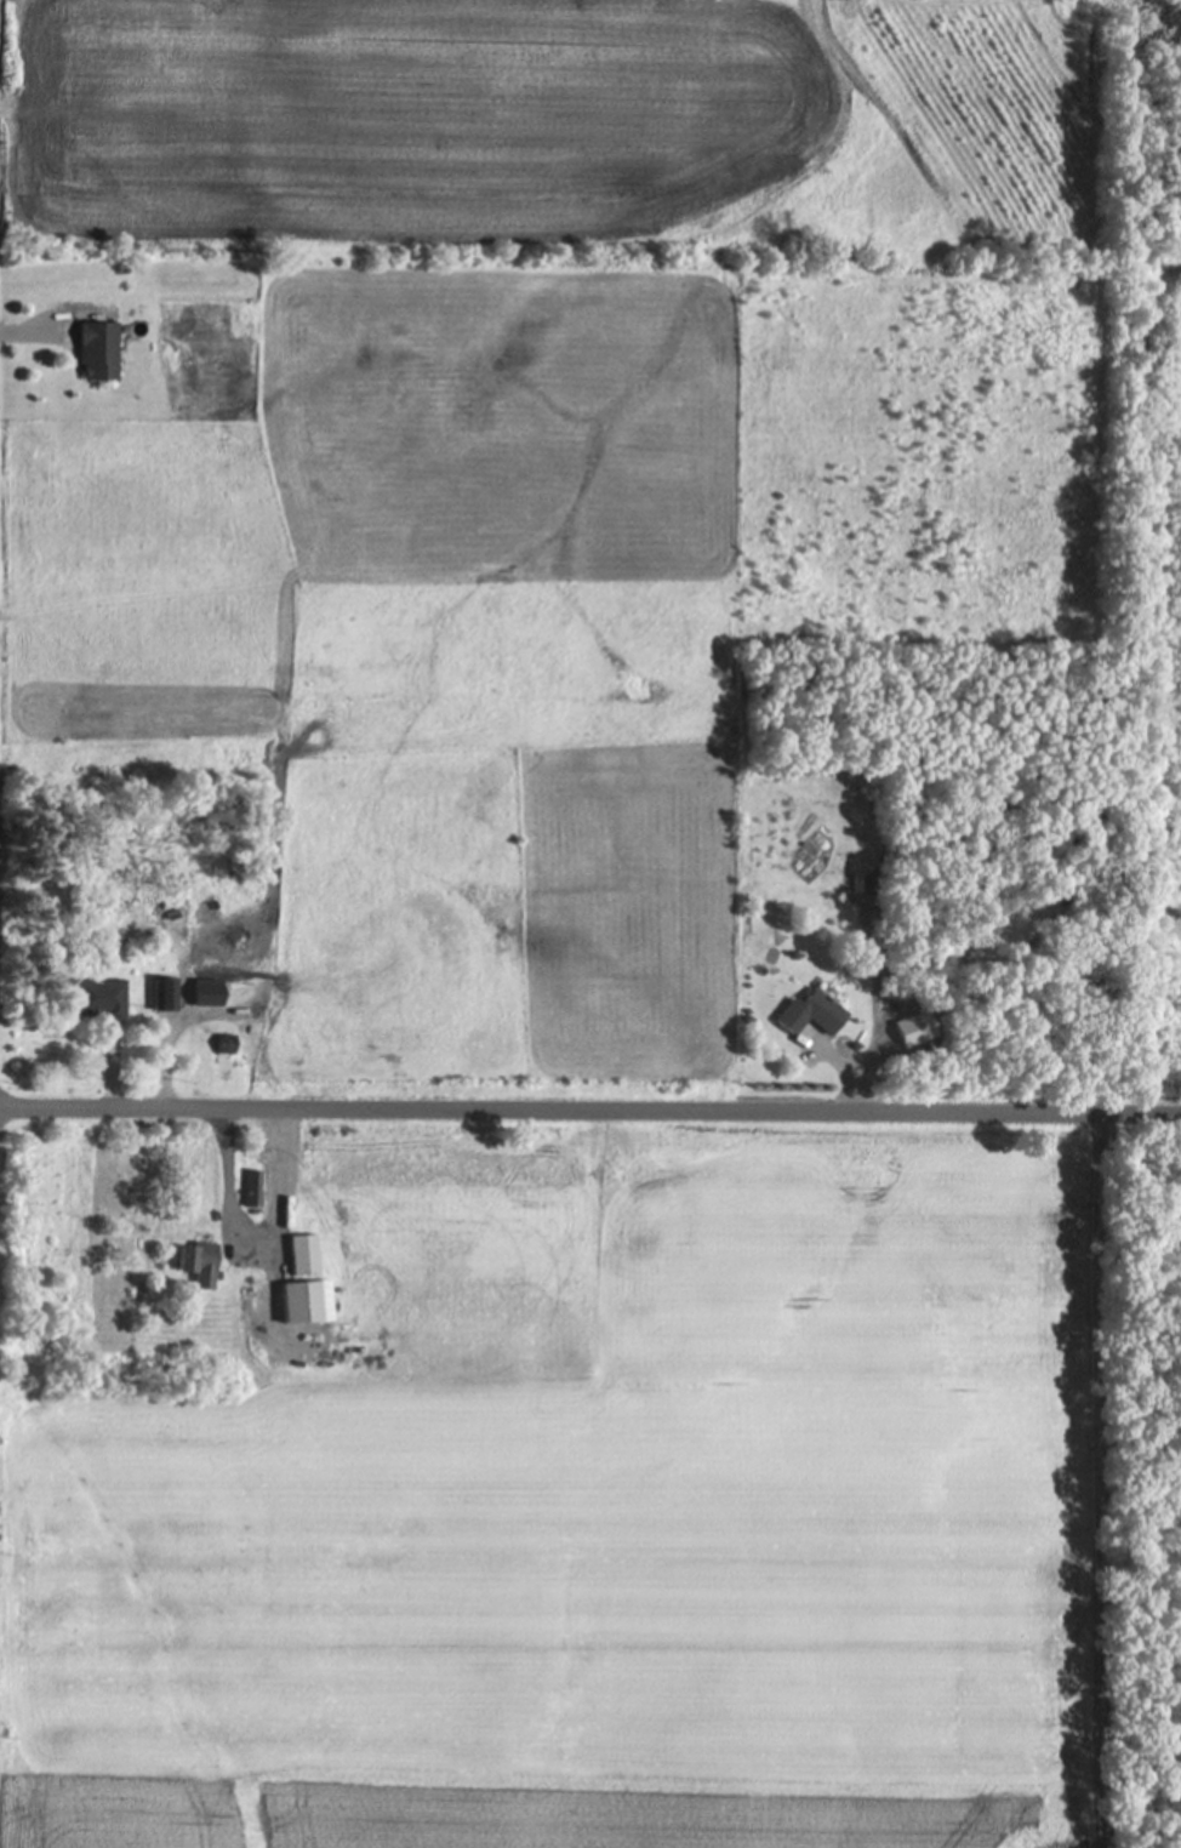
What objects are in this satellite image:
building: (101, 352)
building: (209, 912)
building: (169, 994)
building: (210, 994)
building: (102, 1000)
building: (812, 1016)
road: (589, 1101)
building: (255, 1188)
road: (261, 1227)
building: (304, 1255)
building: (200, 1264)

